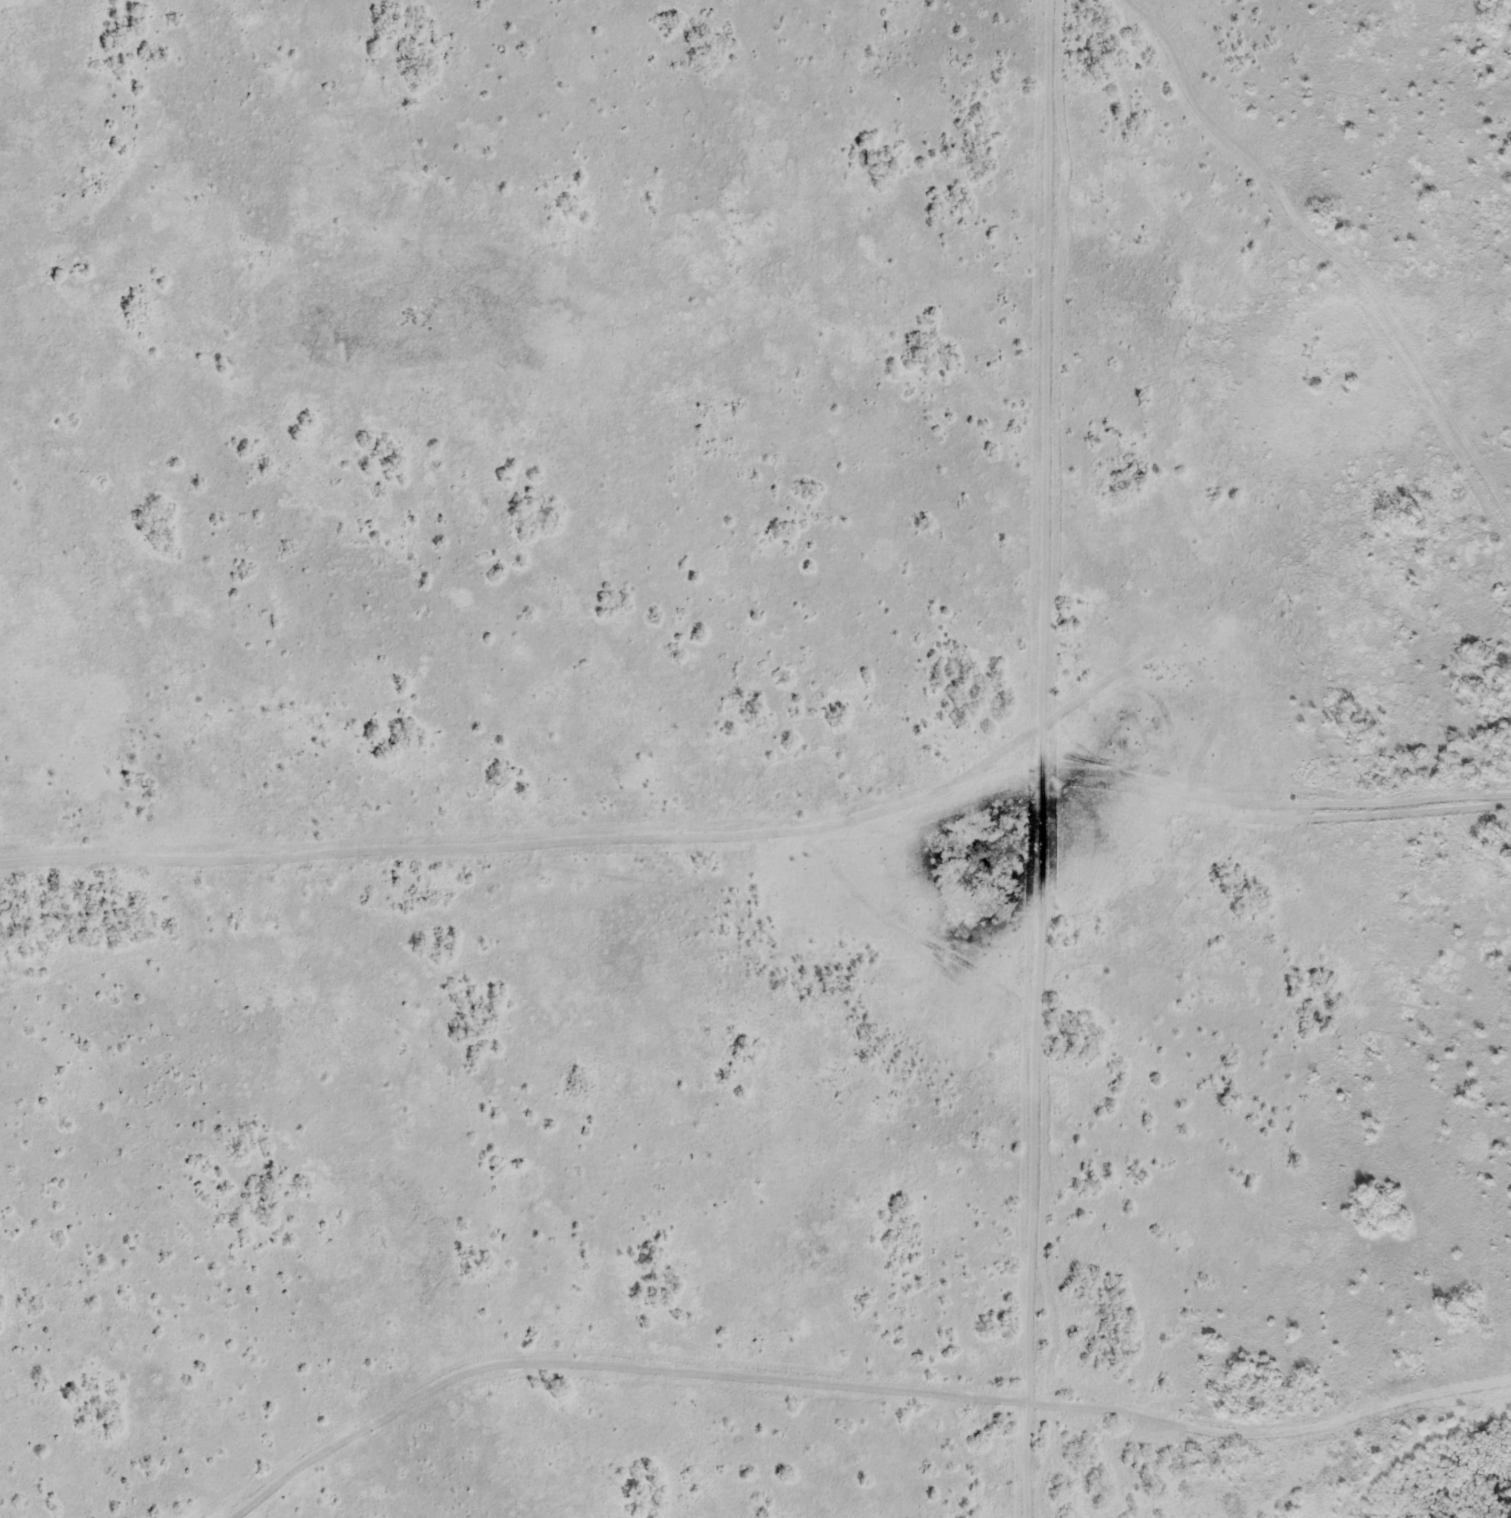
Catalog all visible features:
road: (1335, 232)
road: (1008, 759)

